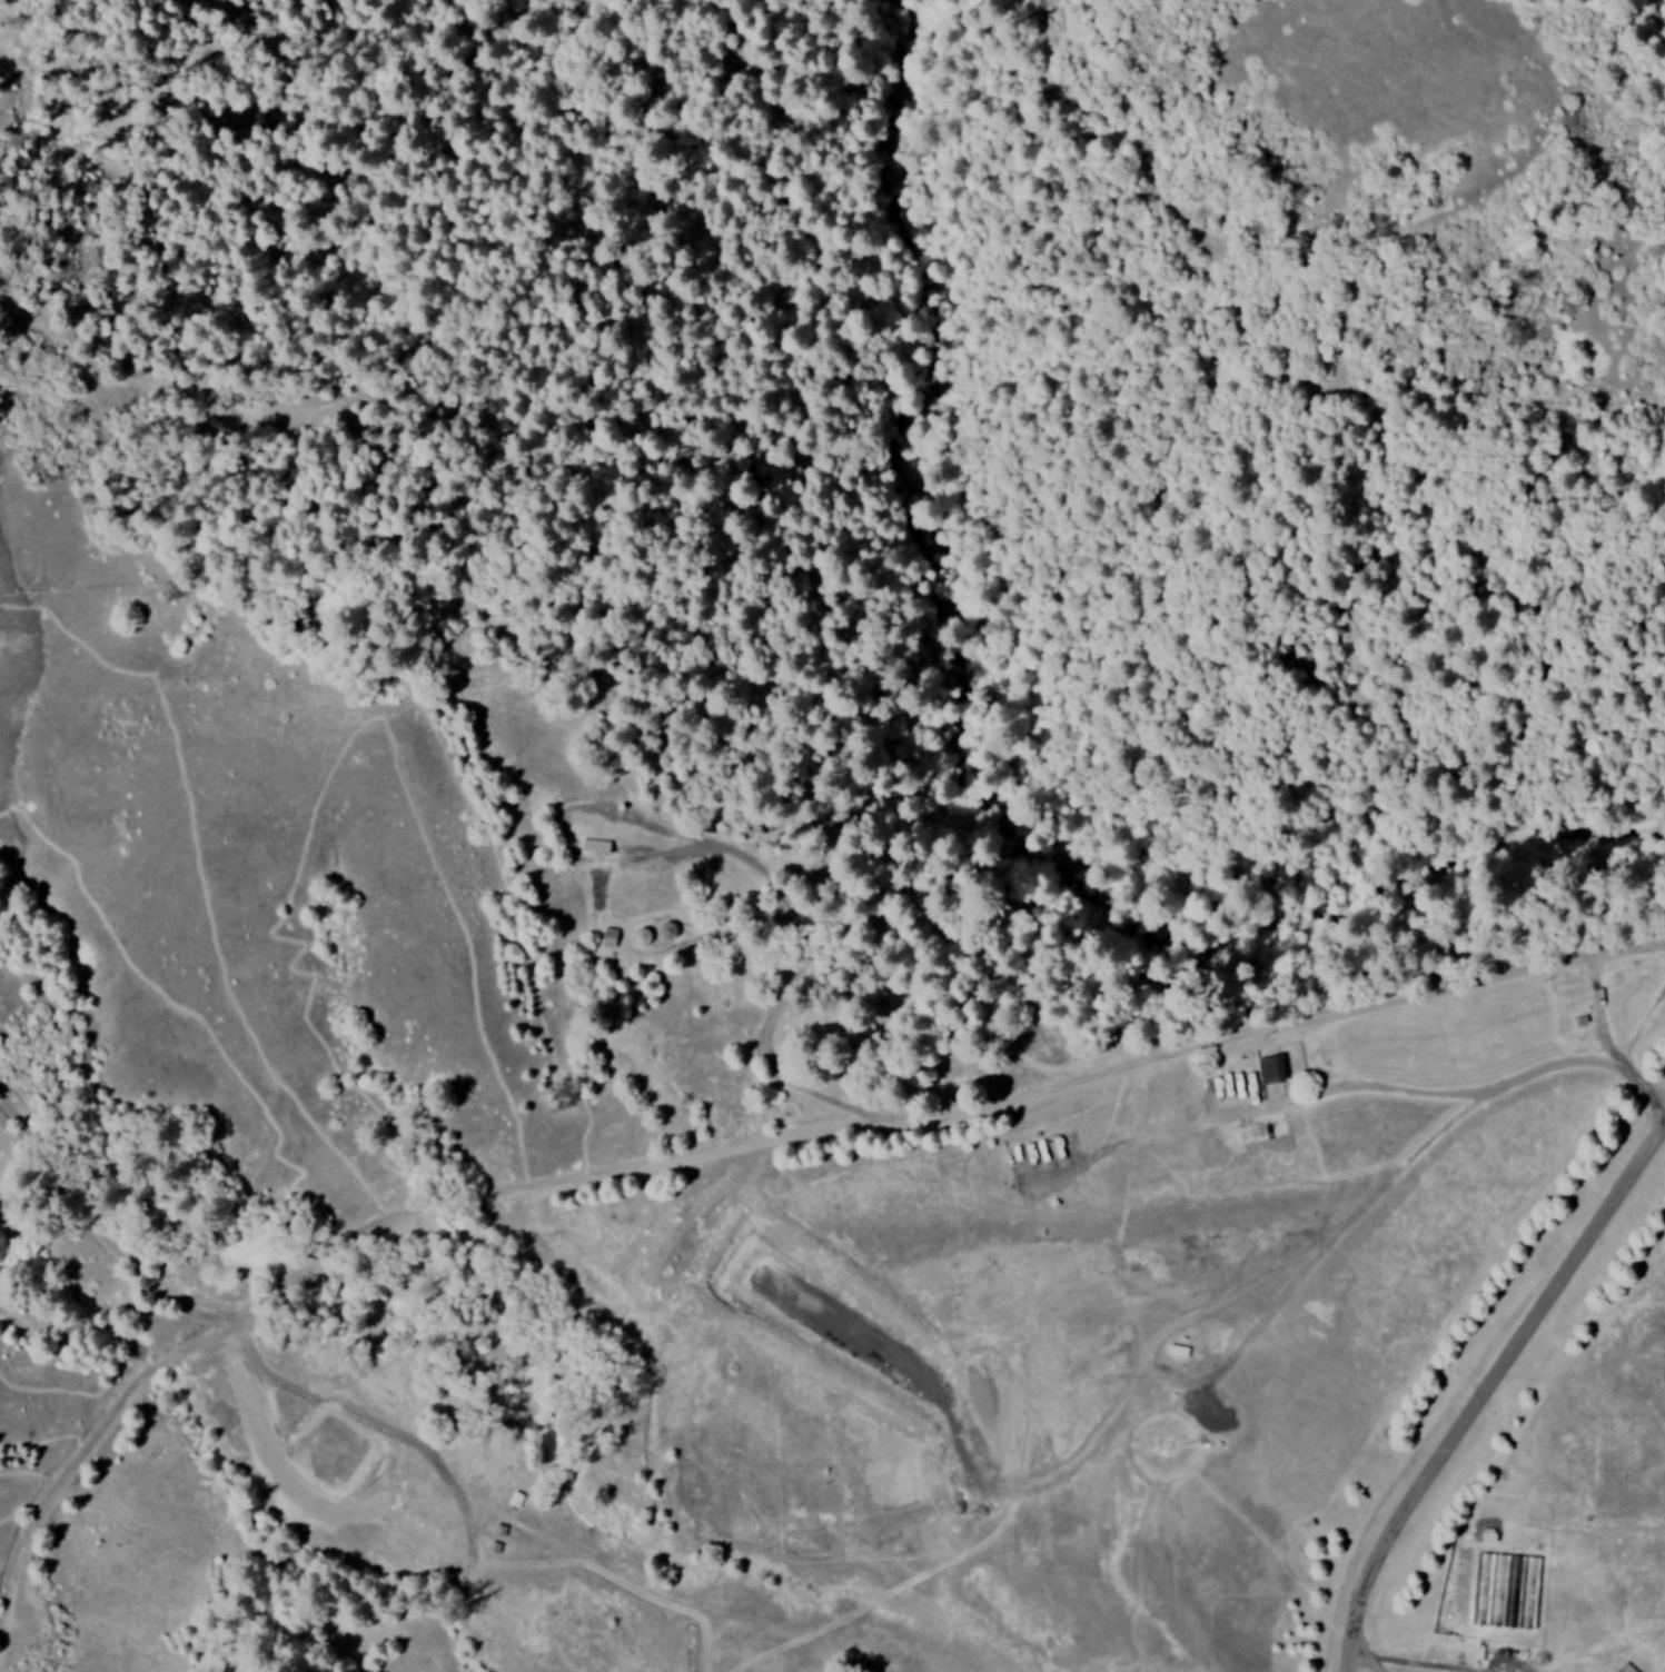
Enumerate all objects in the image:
building: (598, 845)
building: (612, 936)
road: (1158, 1063)
building: (1267, 1069)
road: (1617, 1099)
road: (417, 1231)
road: (1480, 1394)
building: (1624, 1668)

